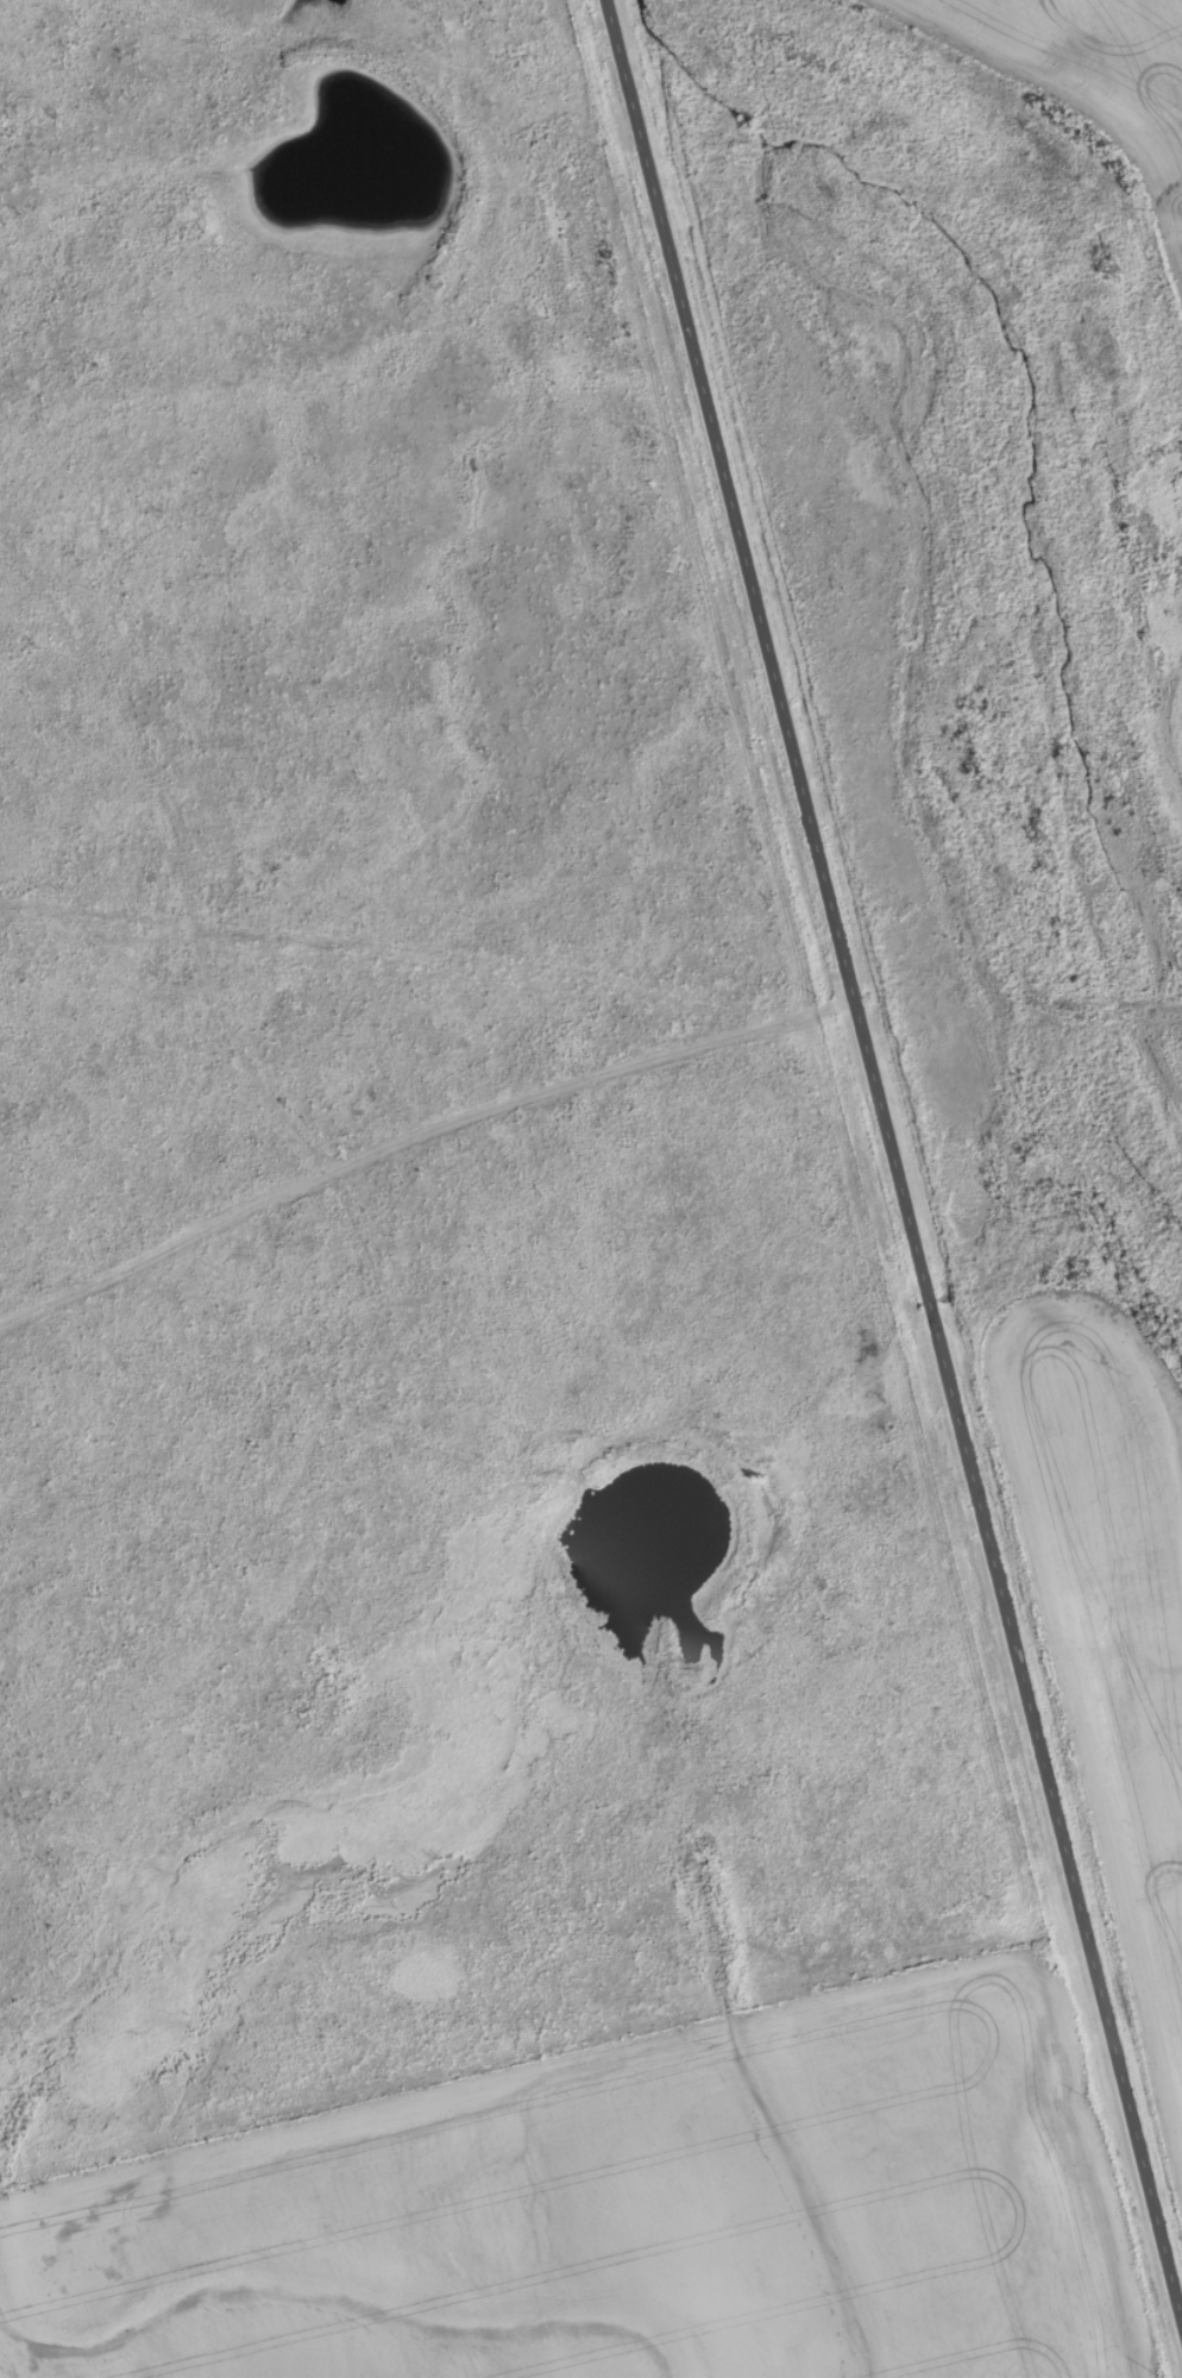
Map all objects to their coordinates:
road: (893, 1162)
road: (543, 2008)

